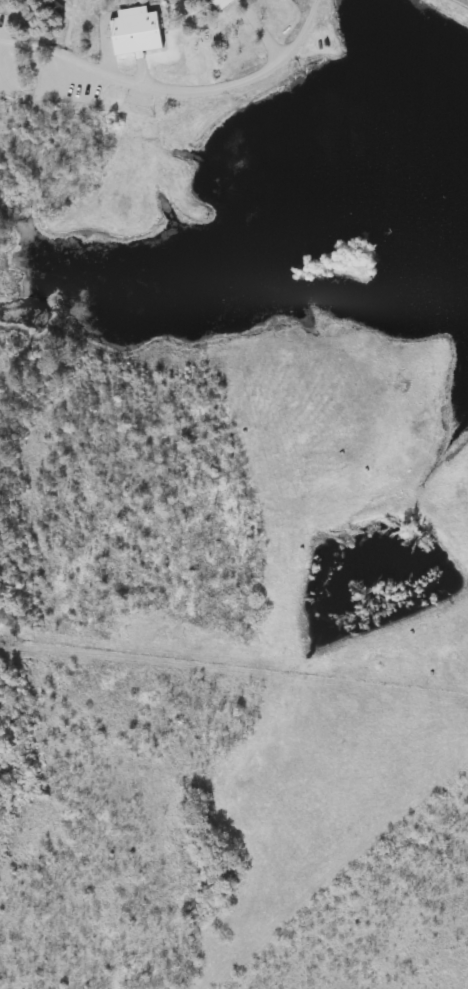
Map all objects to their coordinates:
road: (73, 29)
road: (151, 85)

